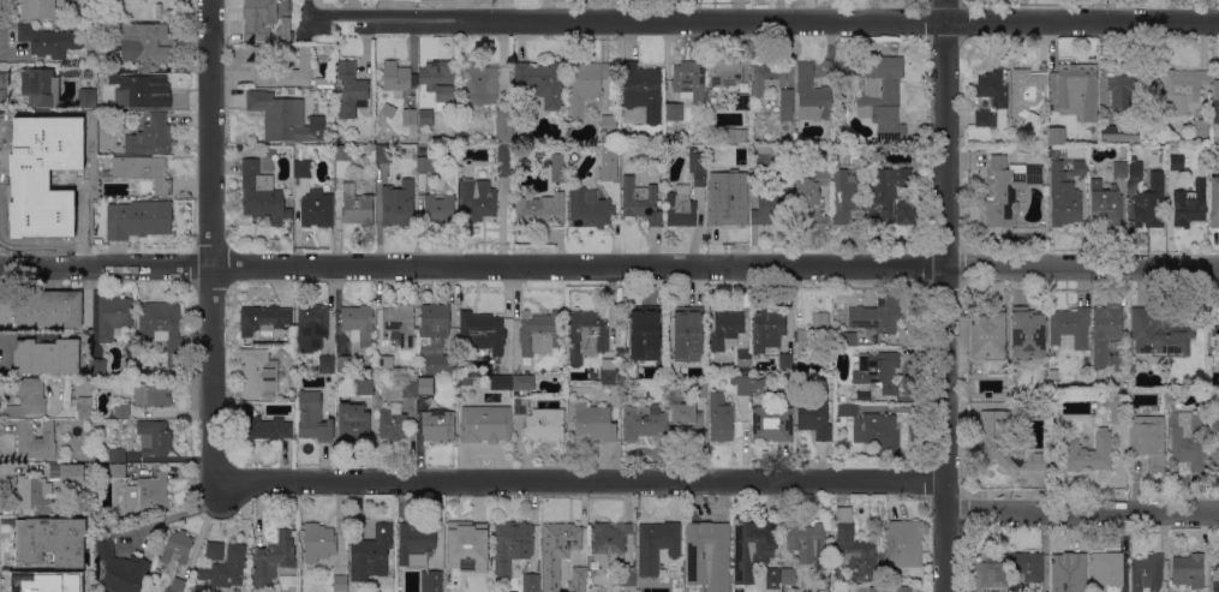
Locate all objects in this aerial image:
building: (38, 8)
building: (262, 13)
road: (763, 20)
building: (59, 23)
building: (50, 40)
building: (142, 41)
building: (280, 68)
building: (88, 71)
building: (725, 72)
building: (398, 77)
building: (440, 79)
building: (689, 80)
building: (325, 82)
building: (543, 82)
building: (1074, 83)
building: (773, 84)
building: (41, 85)
building: (480, 85)
building: (1182, 88)
building: (351, 89)
building: (586, 89)
building: (1130, 89)
building: (145, 90)
building: (643, 90)
building: (327, 95)
building: (812, 95)
building: (882, 96)
building: (1028, 96)
building: (86, 97)
building: (992, 98)
building: (742, 101)
building: (1215, 101)
building: (674, 112)
building: (280, 115)
building: (411, 116)
building: (426, 116)
building: (1057, 124)
building: (609, 125)
building: (503, 126)
building: (56, 127)
building: (1200, 127)
building: (1119, 132)
building: (734, 134)
building: (151, 136)
building: (330, 138)
building: (468, 138)
building: (606, 139)
building: (241, 146)
building: (613, 146)
building: (384, 153)
building: (631, 153)
building: (560, 154)
building: (1214, 155)
building: (761, 156)
building: (743, 159)
building: (343, 160)
building: (504, 160)
building: (1177, 162)
building: (425, 163)
building: (698, 167)
building: (1080, 167)
building: (303, 168)
building: (1121, 168)
building: (1135, 168)
building: (144, 171)
building: (609, 173)
building: (558, 174)
building: (743, 174)
building: (50, 181)
building: (1008, 189)
building: (263, 195)
building: (1063, 196)
building: (813, 197)
building: (848, 197)
building: (890, 197)
building: (478, 198)
building: (640, 201)
building: (1151, 201)
building: (1214, 202)
building: (399, 203)
building: (1105, 203)
building: (1189, 204)
building: (357, 205)
building: (727, 205)
building: (681, 207)
building: (317, 208)
building: (440, 208)
building: (590, 208)
building: (540, 209)
building: (772, 209)
building: (139, 219)
building: (43, 225)
building: (877, 233)
road: (209, 246)
road: (609, 265)
road: (944, 295)
building: (50, 307)
building: (874, 315)
building: (114, 316)
building: (264, 318)
building: (312, 319)
building: (359, 321)
building: (435, 321)
building: (400, 322)
building: (1217, 324)
building: (1071, 325)
building: (163, 327)
building: (725, 328)
building: (767, 329)
building: (686, 331)
building: (1105, 331)
building: (482, 333)
building: (542, 333)
building: (643, 333)
building: (1027, 333)
building: (813, 334)
building: (988, 334)
building: (1160, 334)
building: (587, 335)
building: (1218, 336)
building: (844, 337)
building: (1068, 341)
building: (47, 355)
building: (438, 357)
building: (743, 360)
building: (785, 361)
building: (325, 363)
building: (345, 363)
building: (386, 363)
building: (1121, 363)
building: (97, 366)
building: (1131, 367)
building: (878, 370)
building: (259, 373)
building: (1053, 373)
building: (609, 375)
building: (572, 376)
building: (52, 381)
building: (466, 382)
building: (502, 382)
building: (524, 382)
building: (741, 383)
building: (365, 384)
building: (410, 385)
building: (425, 385)
building: (761, 385)
building: (700, 389)
building: (153, 393)
building: (32, 394)
building: (521, 405)
building: (1117, 406)
building: (85, 407)
building: (121, 408)
building: (313, 417)
building: (814, 417)
building: (353, 420)
building: (722, 420)
building: (594, 421)
building: (645, 421)
building: (687, 421)
building: (393, 423)
building: (485, 423)
building: (772, 423)
building: (438, 424)
building: (544, 425)
building: (265, 426)
building: (873, 427)
building: (155, 437)
building: (1189, 439)
building: (35, 441)
building: (1149, 441)
building: (1214, 442)
building: (1006, 447)
building: (1089, 452)
building: (118, 454)
building: (118, 470)
building: (71, 474)
road: (582, 479)
building: (149, 492)
building: (37, 494)
road: (1082, 509)
building: (416, 539)
building: (465, 539)
building: (50, 540)
building: (318, 542)
building: (610, 542)
building: (658, 542)
building: (808, 543)
building: (904, 543)
building: (512, 545)
building: (177, 546)
building: (703, 546)
building: (752, 548)
building: (855, 549)
building: (558, 550)
building: (370, 552)
building: (274, 557)
building: (222, 567)
building: (1024, 569)
building: (1188, 569)
building: (121, 570)
building: (994, 570)
building: (1068, 572)
building: (1107, 572)
building: (1147, 572)
building: (580, 575)
building: (788, 576)
building: (627, 578)
building: (772, 578)
building: (1215, 578)
building: (724, 580)
building: (431, 581)
building: (483, 581)
building: (531, 581)
building: (35, 582)
building: (340, 582)
building: (177, 585)
building: (890, 588)

